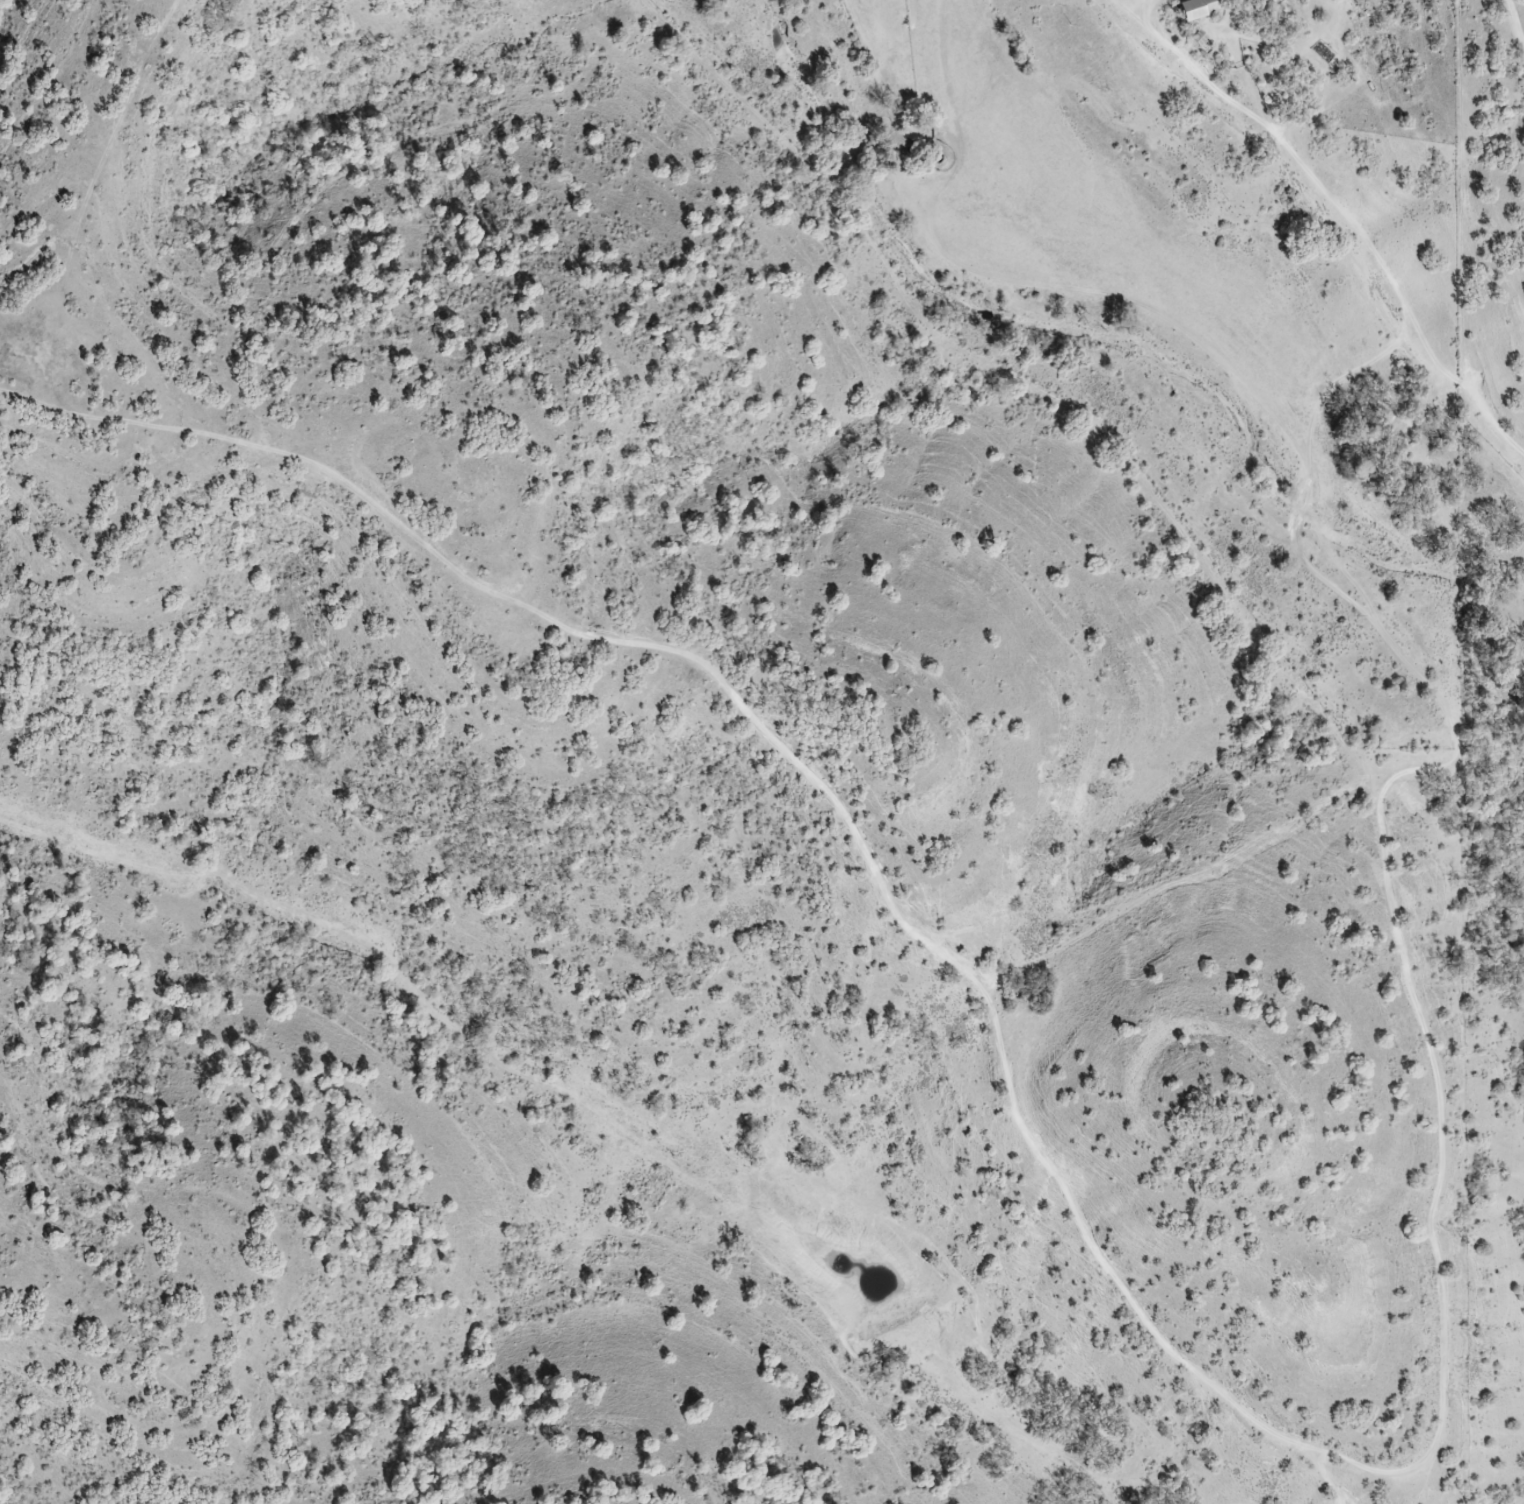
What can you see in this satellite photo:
building: (1336, 0)
building: (1353, 1)
building: (1195, 8)
road: (1351, 210)

